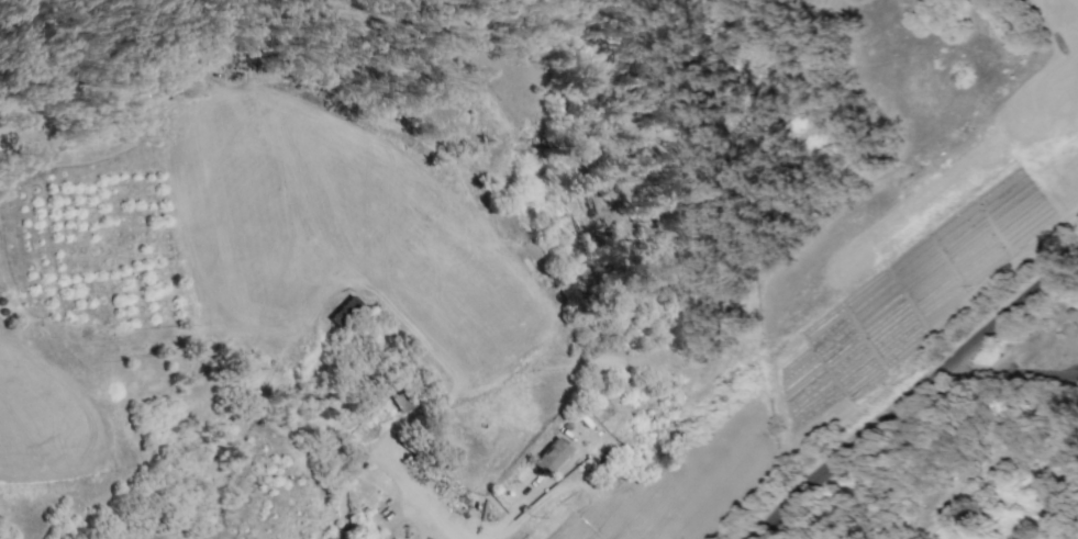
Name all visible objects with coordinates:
crop: (246, 245)
road: (985, 303)
building: (345, 312)
road: (1016, 378)
road: (918, 401)
building: (553, 454)
crop: (262, 494)
building: (332, 537)

